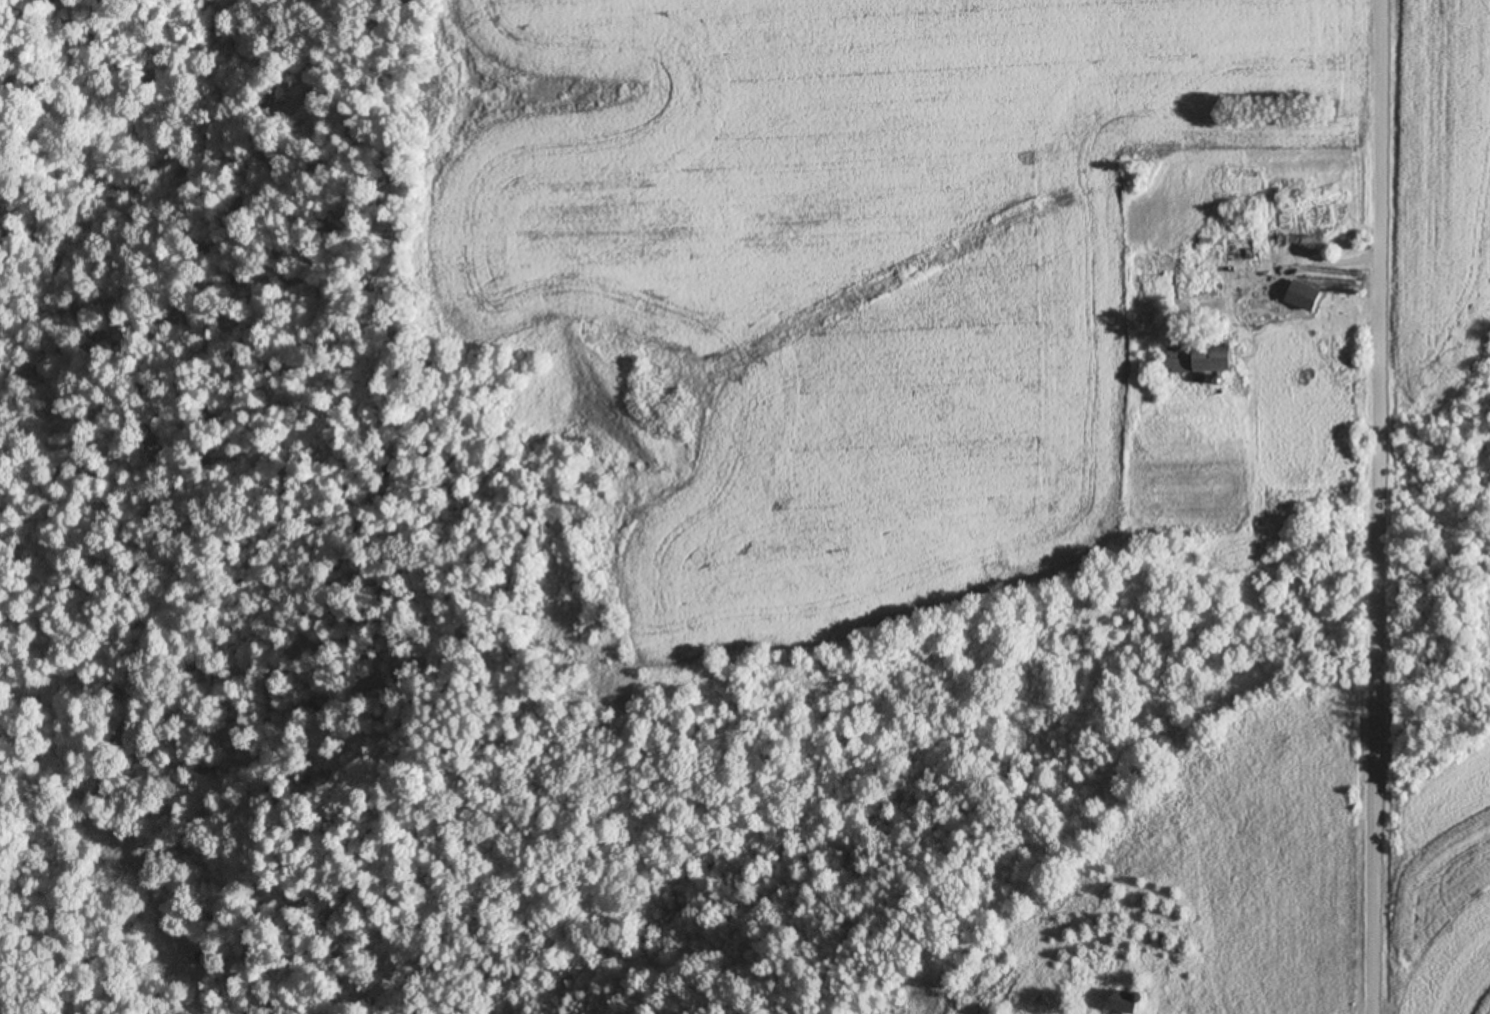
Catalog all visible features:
building: (1295, 165)
building: (1242, 248)
building: (1139, 280)
building: (1204, 283)
building: (1306, 294)
building: (1203, 357)
road: (1385, 507)
building: (1128, 1000)

